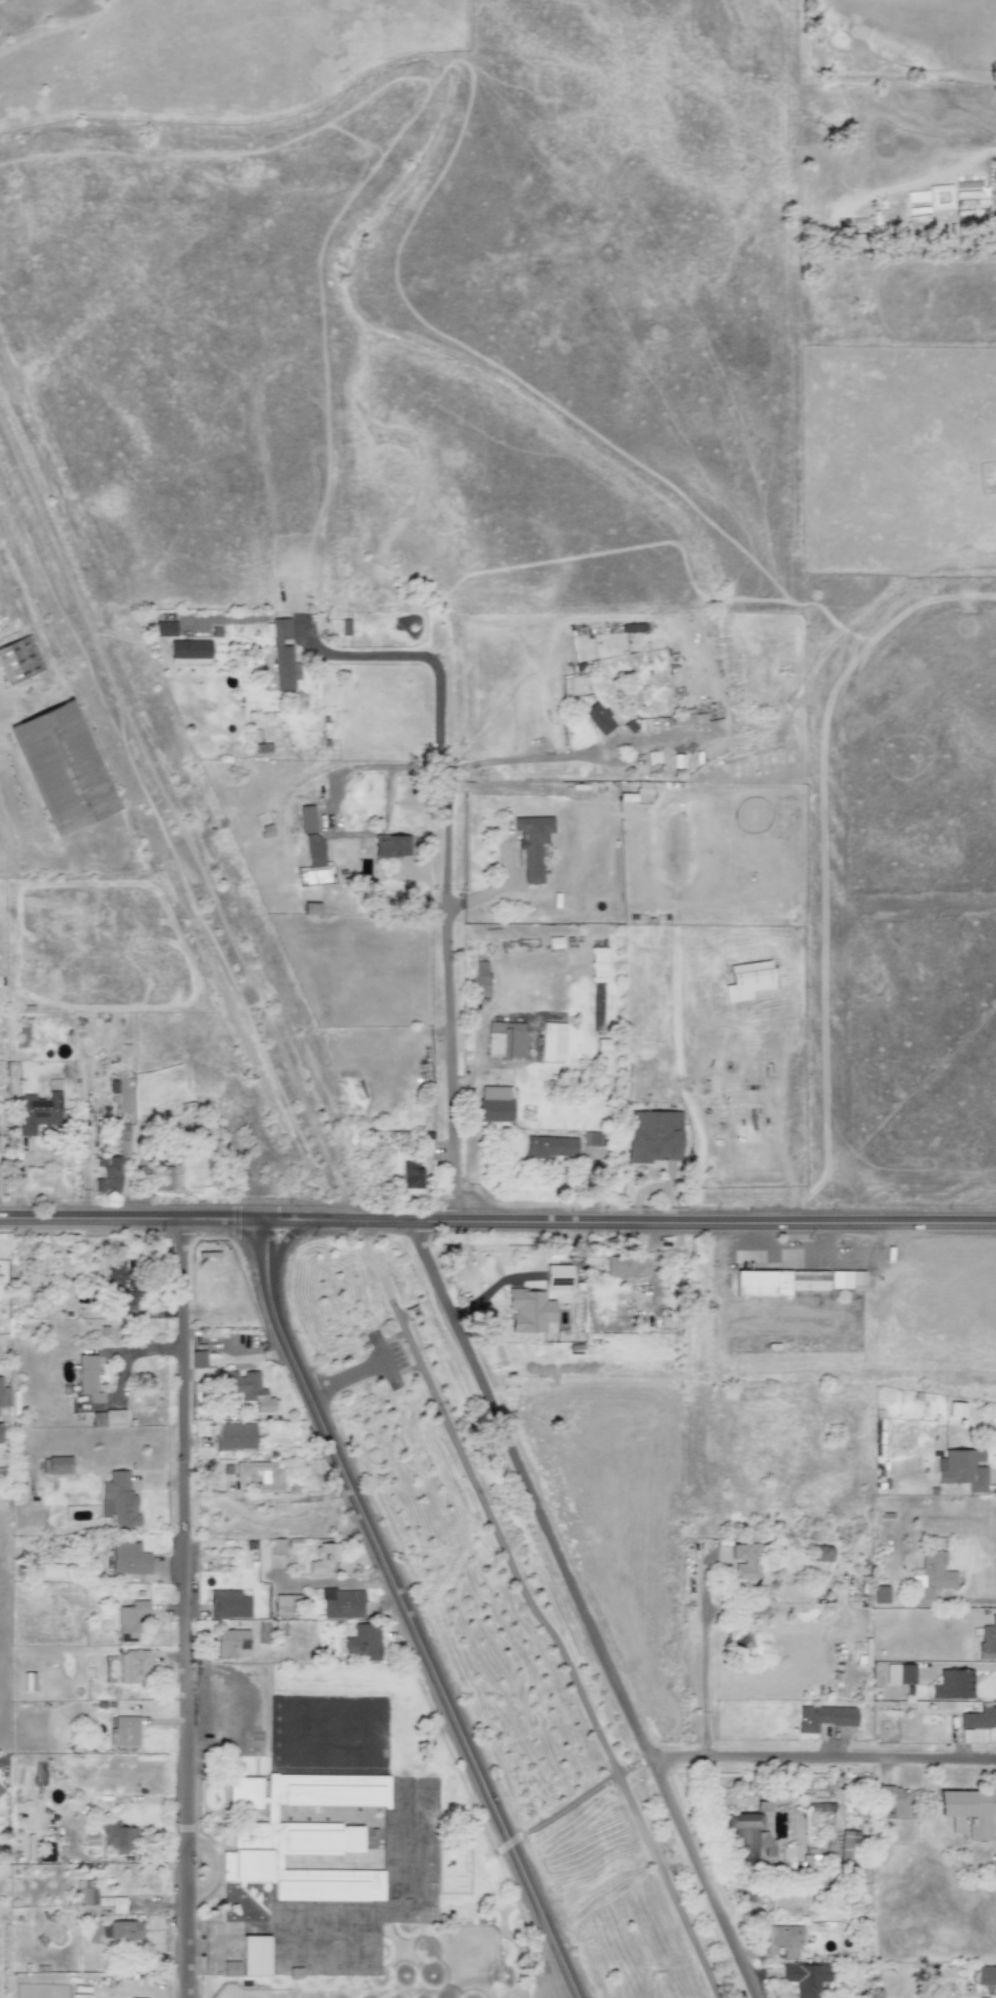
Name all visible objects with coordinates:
building: (165, 628)
building: (189, 650)
building: (282, 656)
building: (19, 659)
building: (598, 718)
road: (573, 754)
building: (63, 767)
building: (643, 790)
road: (331, 808)
building: (306, 819)
building: (531, 844)
building: (390, 846)
building: (314, 851)
road: (443, 863)
road: (819, 869)
building: (313, 875)
building: (310, 908)
building: (554, 944)
building: (598, 964)
building: (481, 979)
building: (746, 979)
building: (23, 1036)
building: (505, 1039)
building: (552, 1041)
building: (494, 1103)
building: (38, 1112)
building: (654, 1137)
building: (593, 1138)
building: (551, 1147)
building: (108, 1174)
building: (412, 1175)
building: (164, 1178)
road: (91, 1217)
road: (224, 1219)
road: (630, 1225)
road: (786, 1253)
building: (625, 1267)
building: (115, 1270)
building: (558, 1275)
building: (845, 1279)
building: (778, 1282)
building: (130, 1301)
building: (529, 1310)
road: (409, 1353)
building: (198, 1359)
road: (356, 1375)
building: (88, 1378)
building: (246, 1390)
building: (4, 1395)
building: (956, 1408)
building: (115, 1418)
building: (1, 1434)
building: (233, 1436)
building: (56, 1465)
building: (961, 1469)
building: (261, 1475)
road: (705, 1492)
building: (118, 1499)
building: (278, 1547)
building: (820, 1553)
building: (128, 1558)
building: (323, 1558)
building: (746, 1560)
building: (930, 1578)
building: (881, 1594)
road: (970, 1599)
building: (341, 1603)
building: (228, 1604)
road: (185, 1607)
road: (585, 1611)
road: (406, 1614)
building: (130, 1620)
road: (560, 1638)
building: (987, 1640)
building: (230, 1641)
building: (363, 1641)
building: (134, 1667)
building: (899, 1673)
building: (29, 1681)
building: (952, 1685)
road: (235, 1703)
building: (824, 1717)
building: (979, 1717)
building: (124, 1733)
road: (824, 1758)
building: (0, 1760)
building: (0, 1795)
building: (895, 1801)
building: (966, 1812)
building: (743, 1835)
building: (118, 1836)
building: (303, 1836)
building: (90, 1839)
building: (765, 1842)
building: (47, 1852)
building: (849, 1853)
road: (207, 1865)
building: (89, 1892)
building: (112, 1903)
building: (121, 1930)
building: (785, 1939)
road: (212, 1948)
building: (254, 1955)
building: (230, 1968)
building: (986, 1975)
building: (808, 1978)

